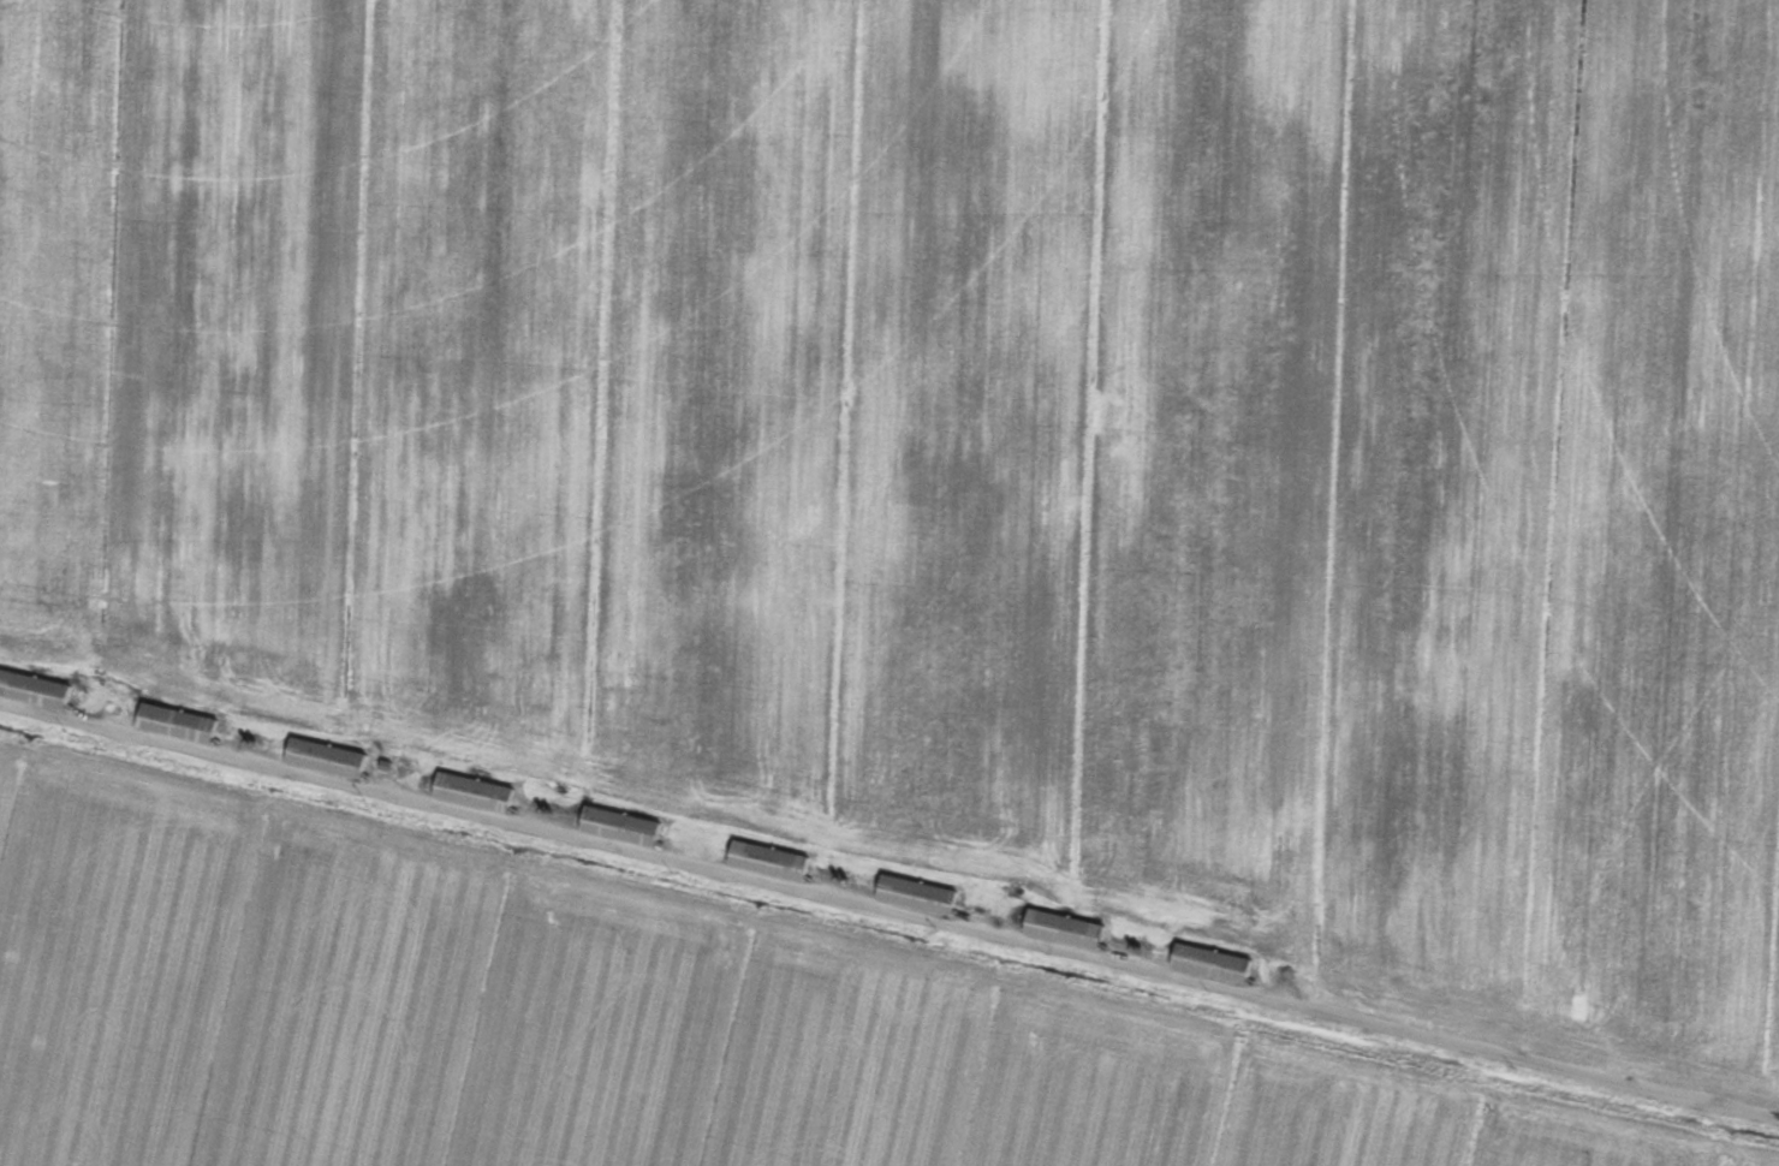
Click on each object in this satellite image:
building: (36, 690)
building: (182, 724)
building: (331, 759)
building: (478, 793)
building: (624, 827)
building: (773, 862)
building: (921, 896)
road: (889, 910)
building: (1067, 929)
building: (1215, 964)

